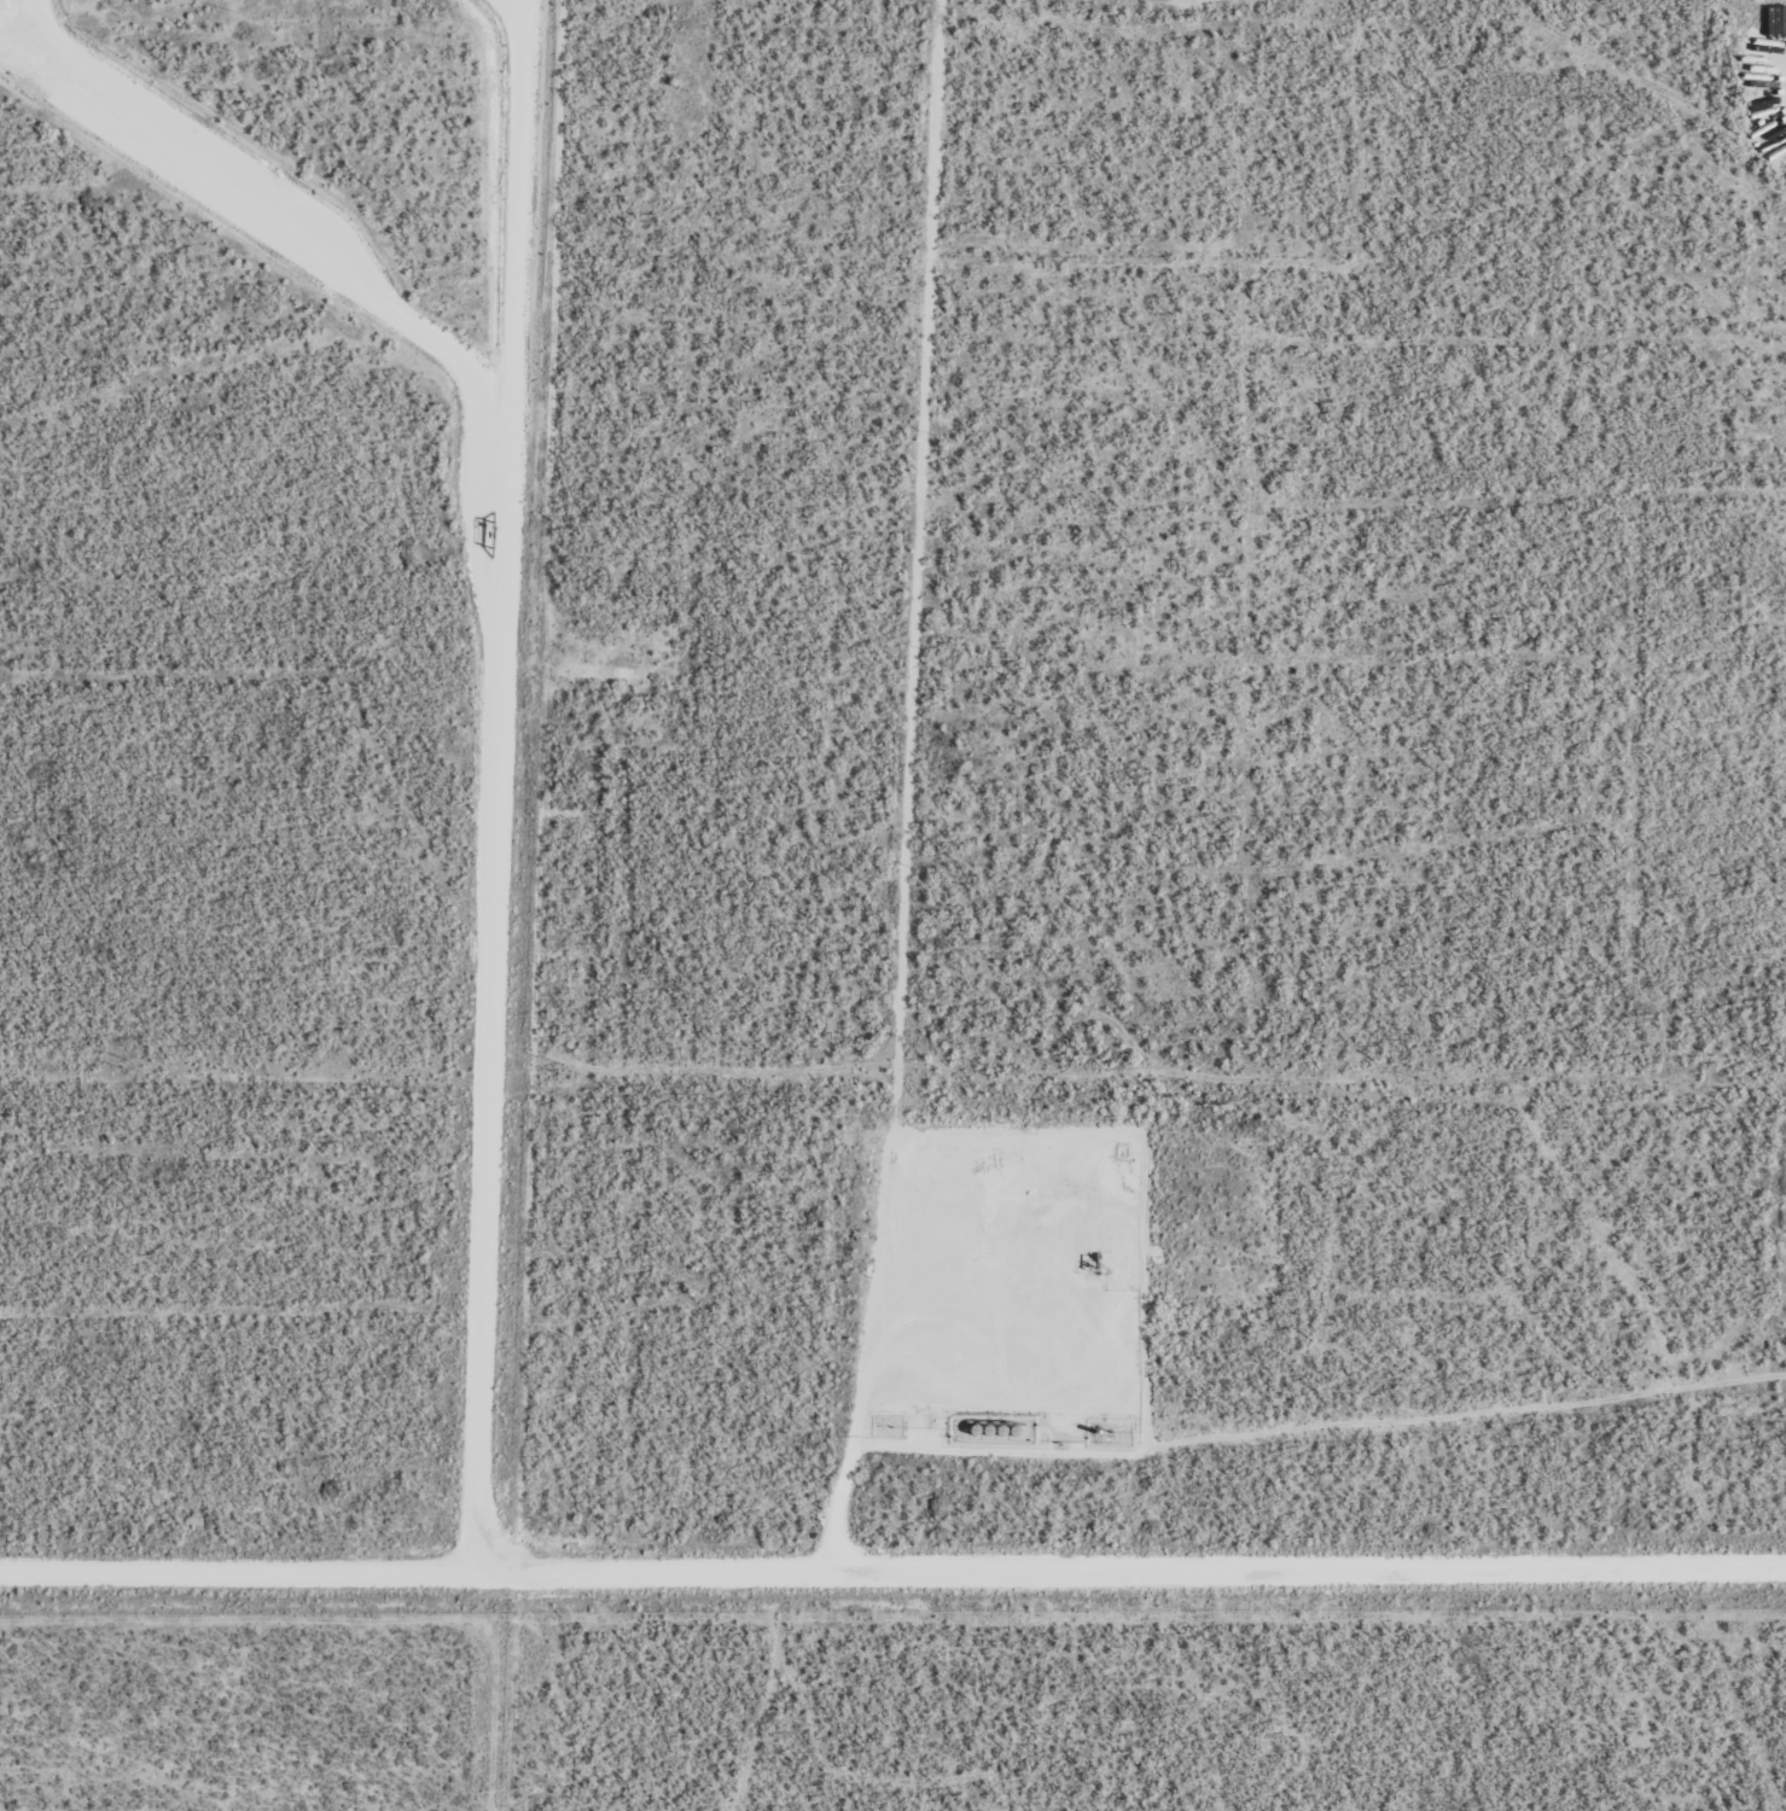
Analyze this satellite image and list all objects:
road: (535, 787)
power tower: (129, 1065)
power tower: (563, 1068)
power tower: (994, 1072)
power tower: (1426, 1075)
road: (892, 1573)

